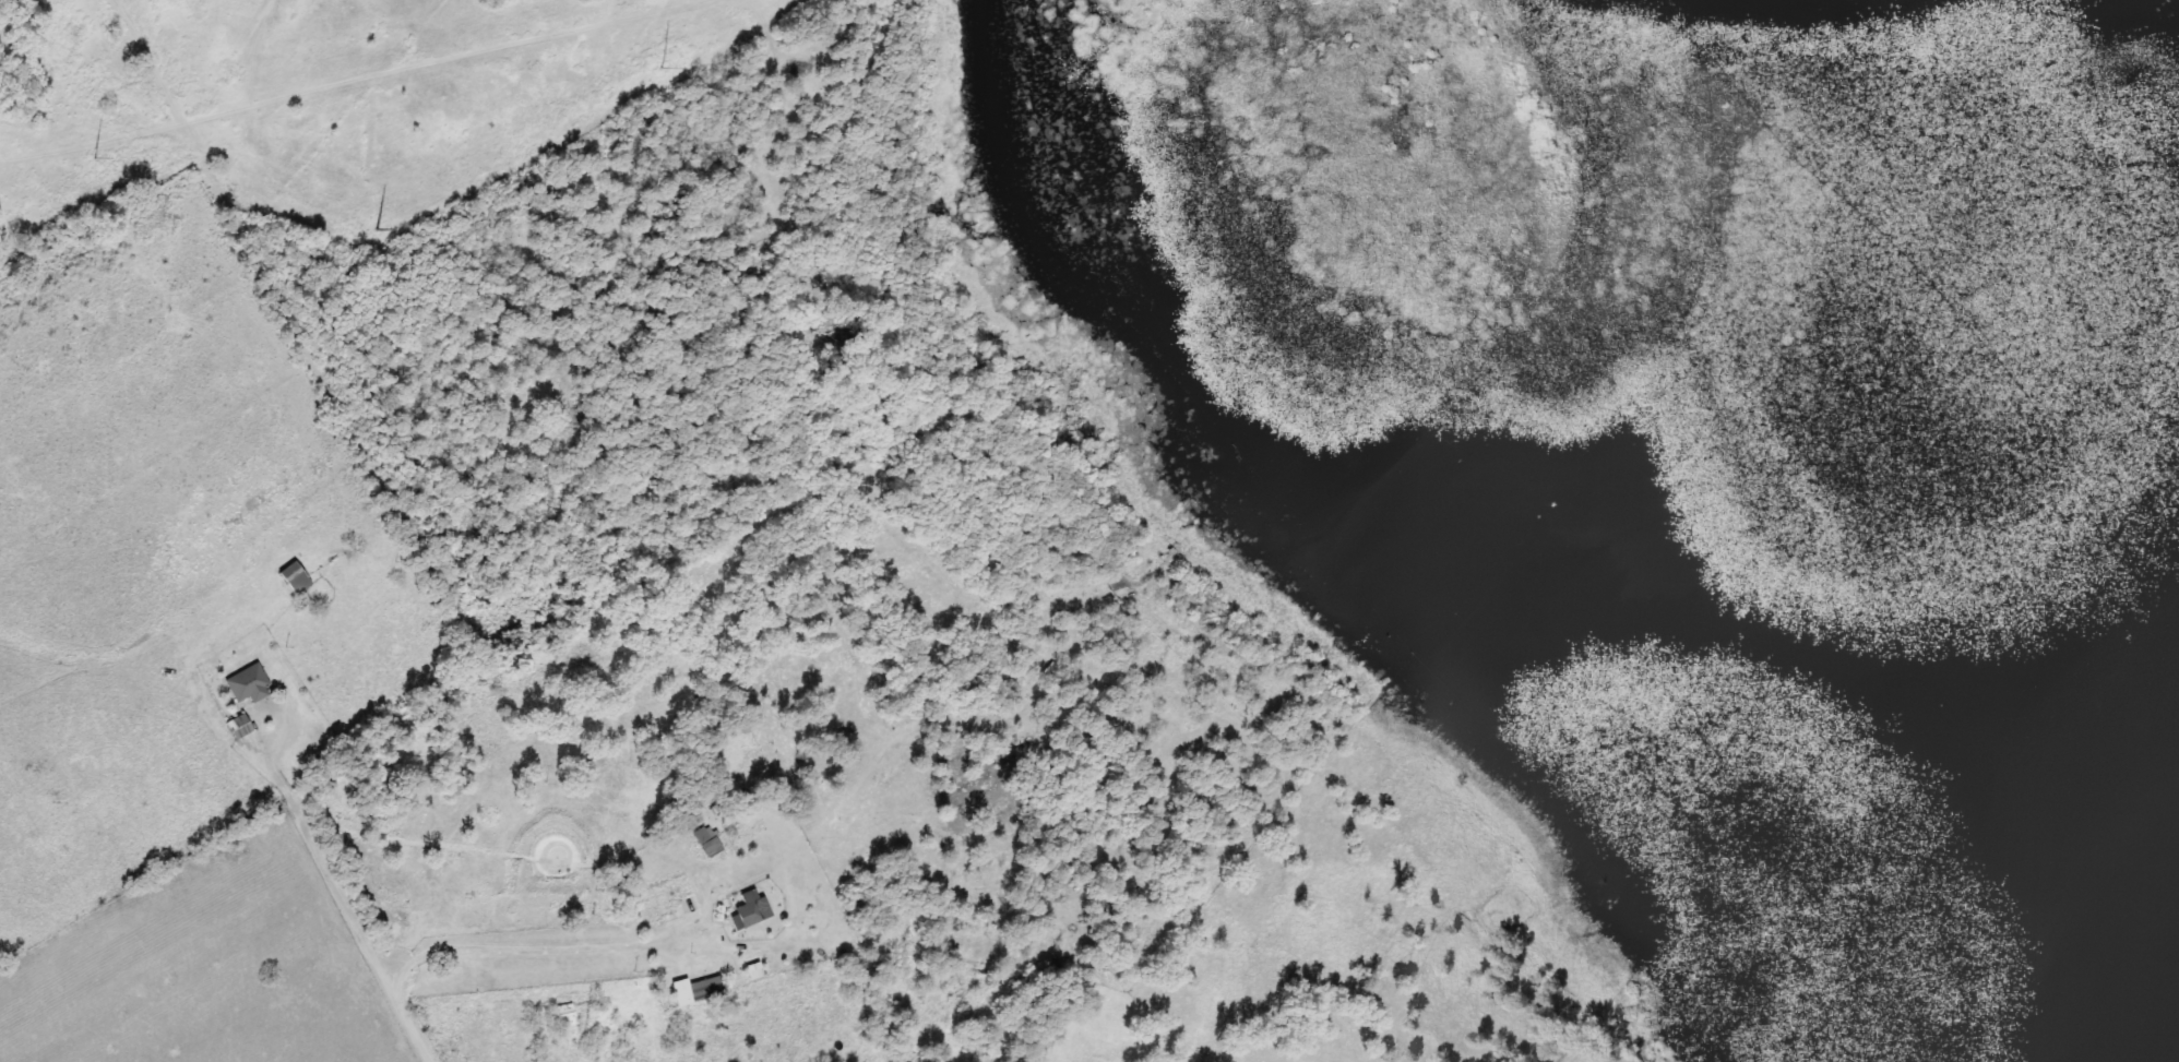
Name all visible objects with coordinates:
building: (290, 576)
building: (246, 683)
building: (667, 899)
building: (747, 914)
road: (356, 929)
road: (535, 952)

